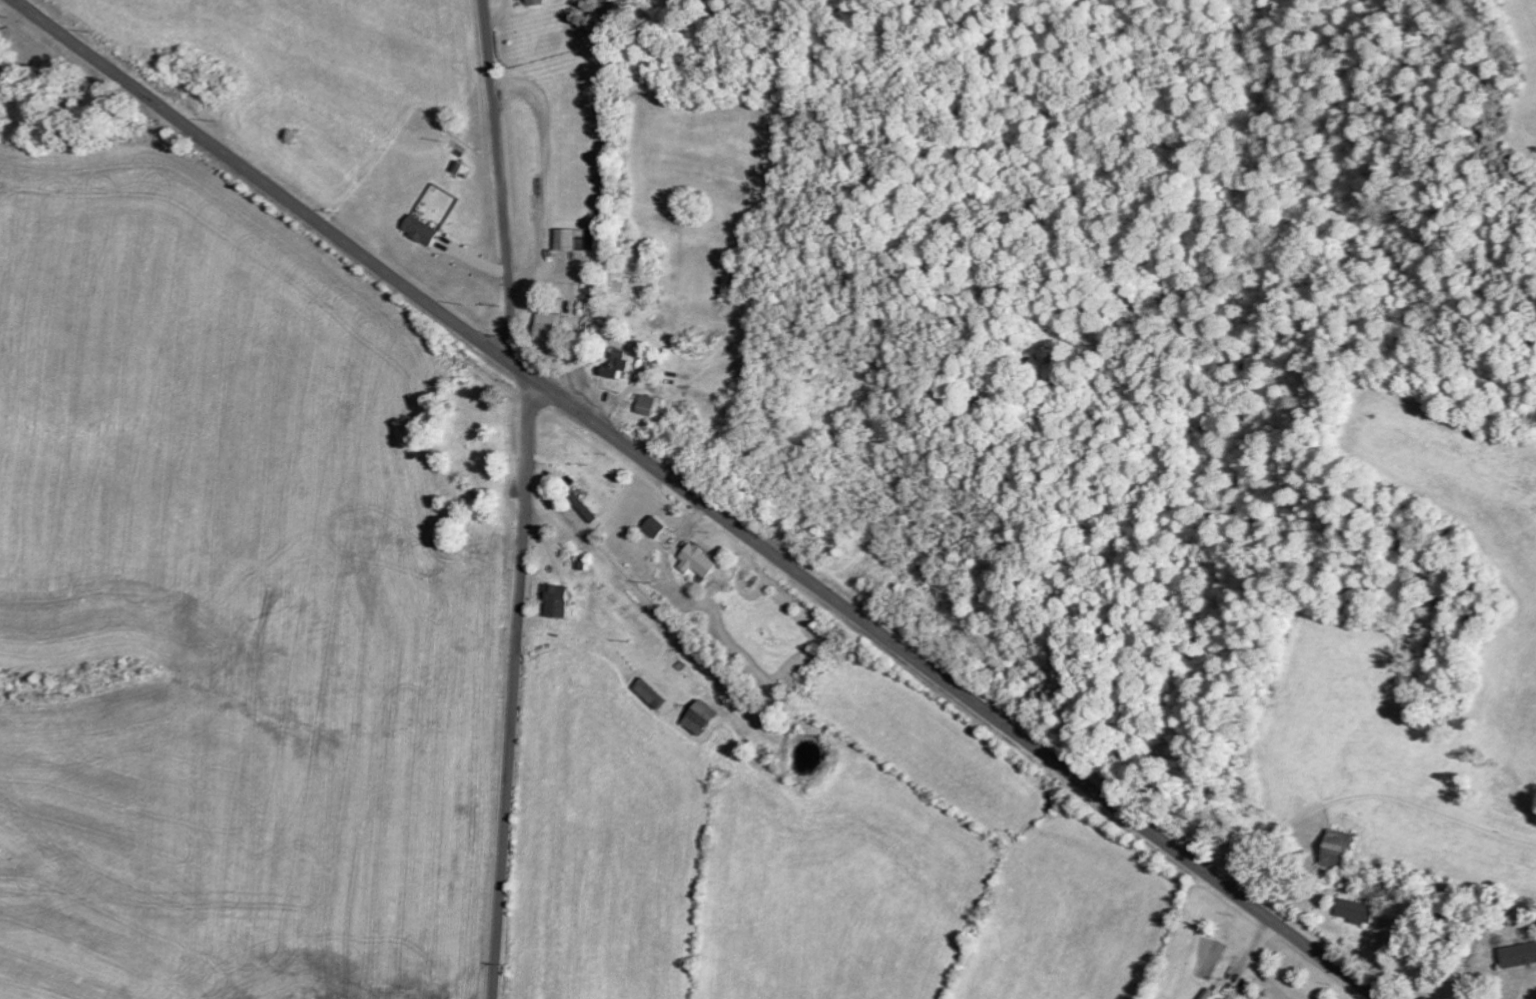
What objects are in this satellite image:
building: (540, 3)
road: (499, 183)
building: (424, 230)
building: (578, 239)
building: (553, 329)
building: (620, 366)
building: (648, 405)
road: (697, 498)
building: (659, 526)
building: (700, 561)
building: (559, 602)
road: (511, 682)
building: (654, 694)
building: (704, 718)
building: (1346, 850)
building: (1360, 911)
building: (1522, 956)
road: (1531, 993)

